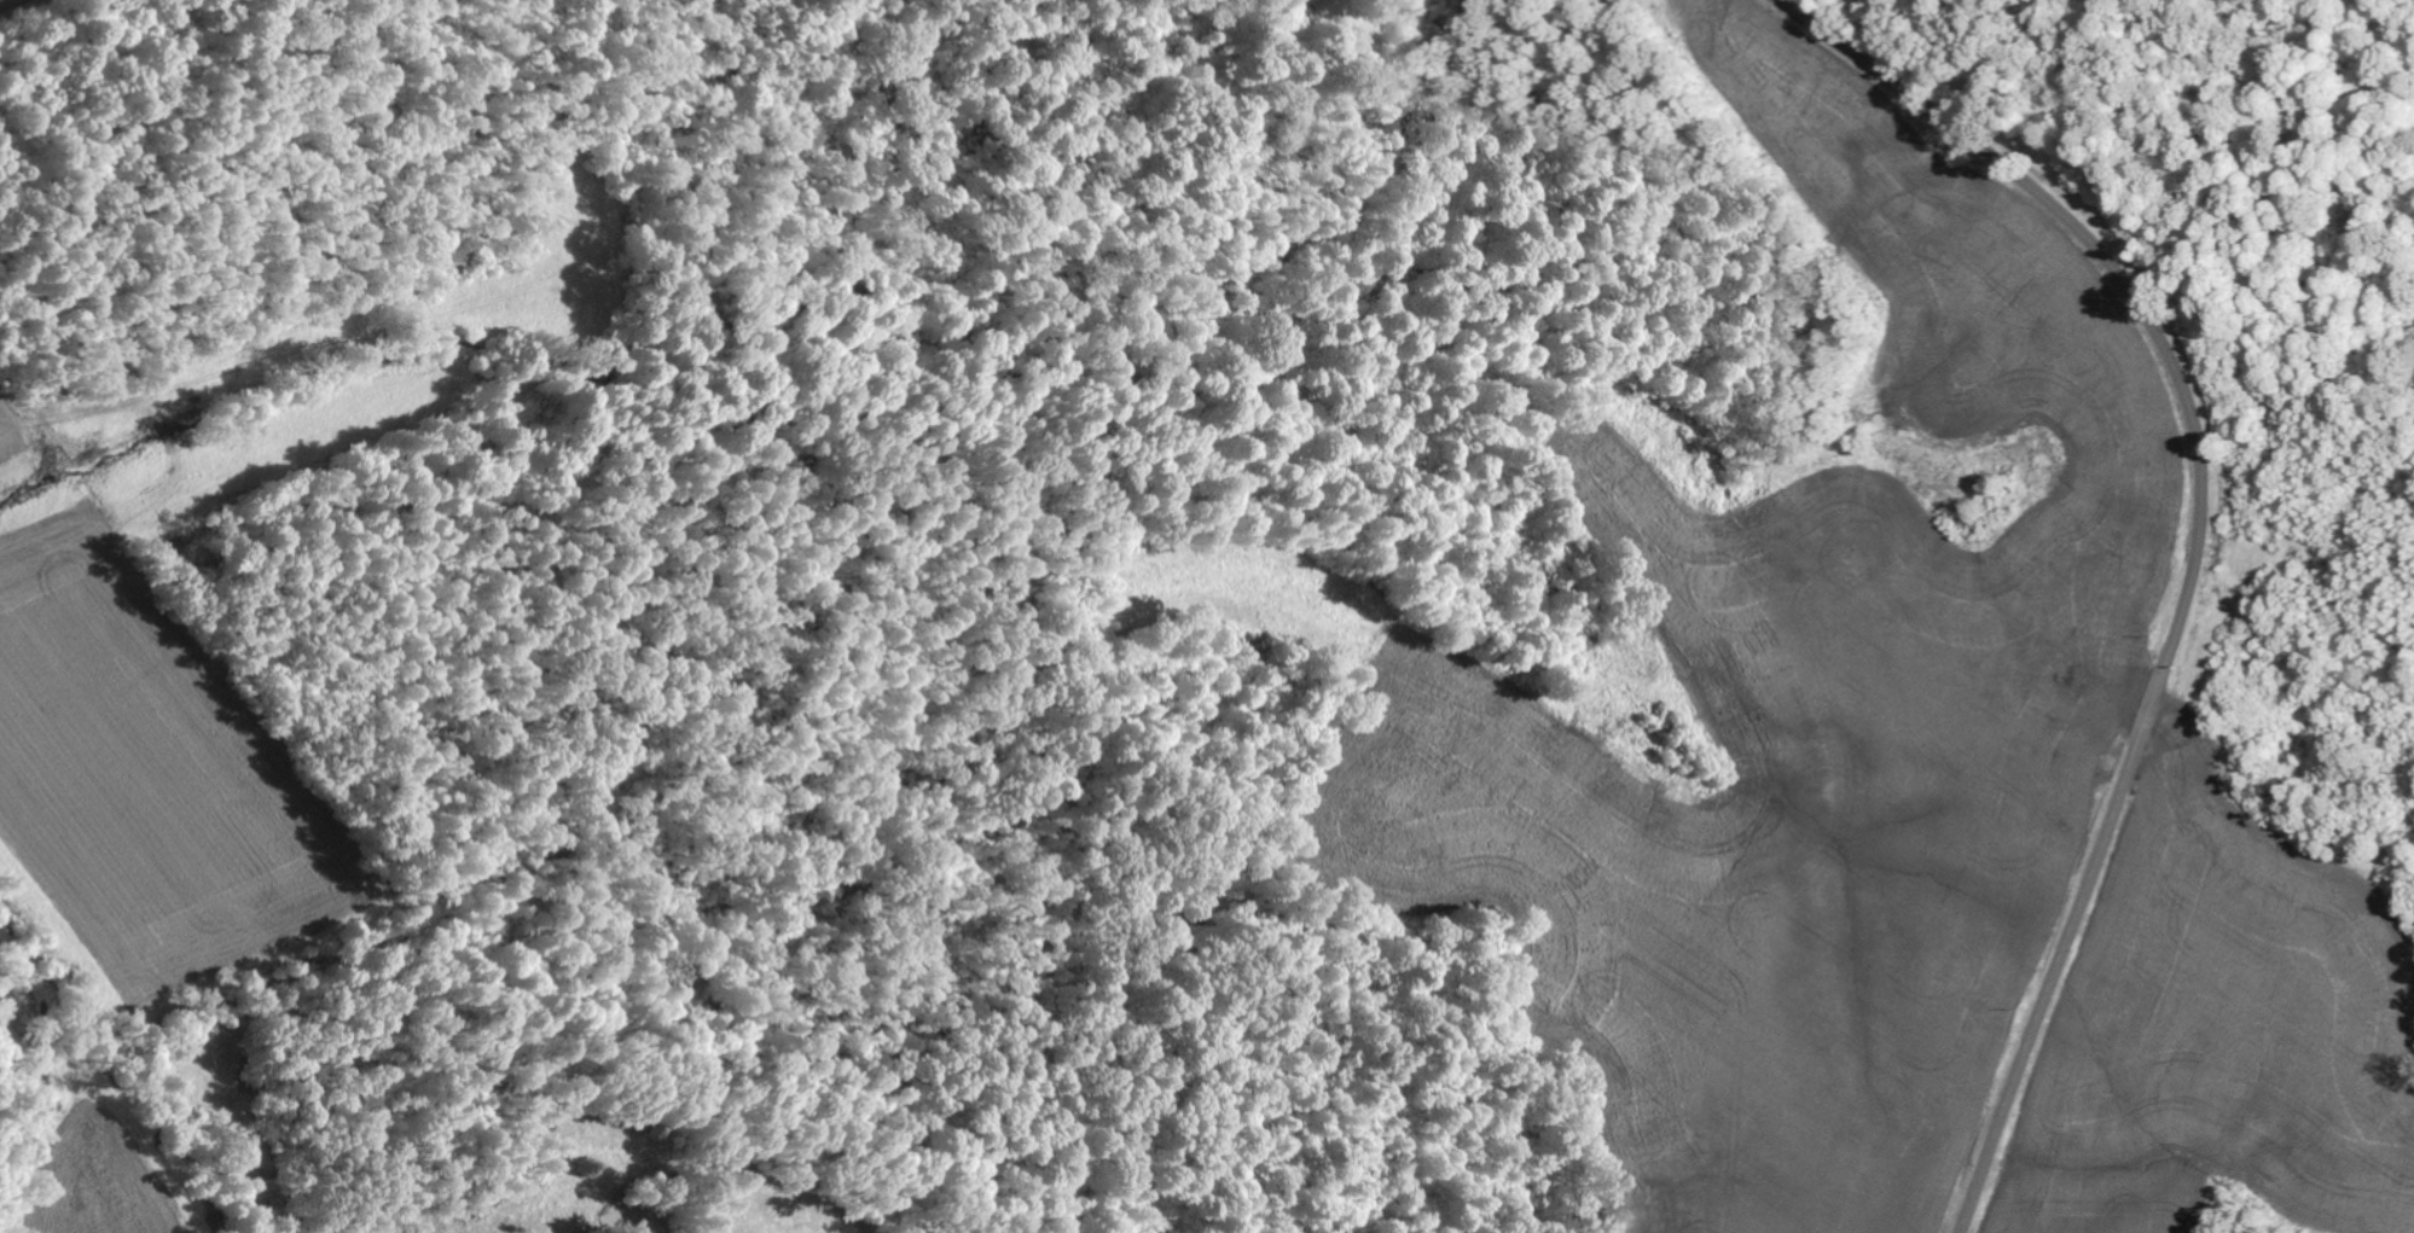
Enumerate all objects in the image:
road: (11, 4)
road: (2204, 543)

